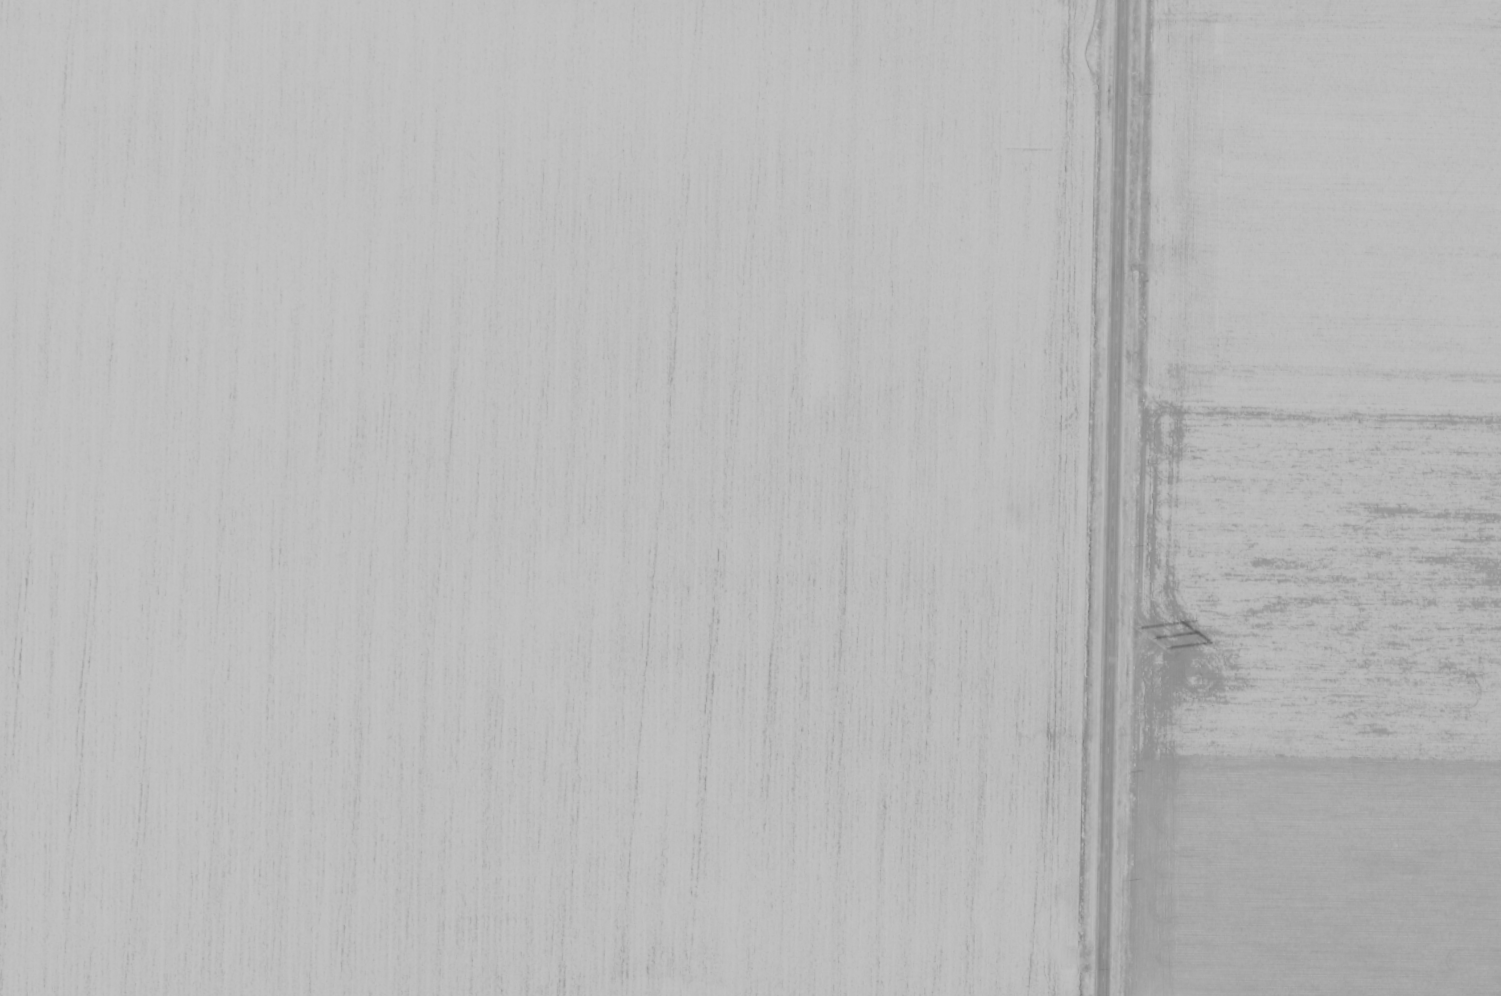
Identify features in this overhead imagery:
road: (1105, 497)
power tower: (1158, 636)

